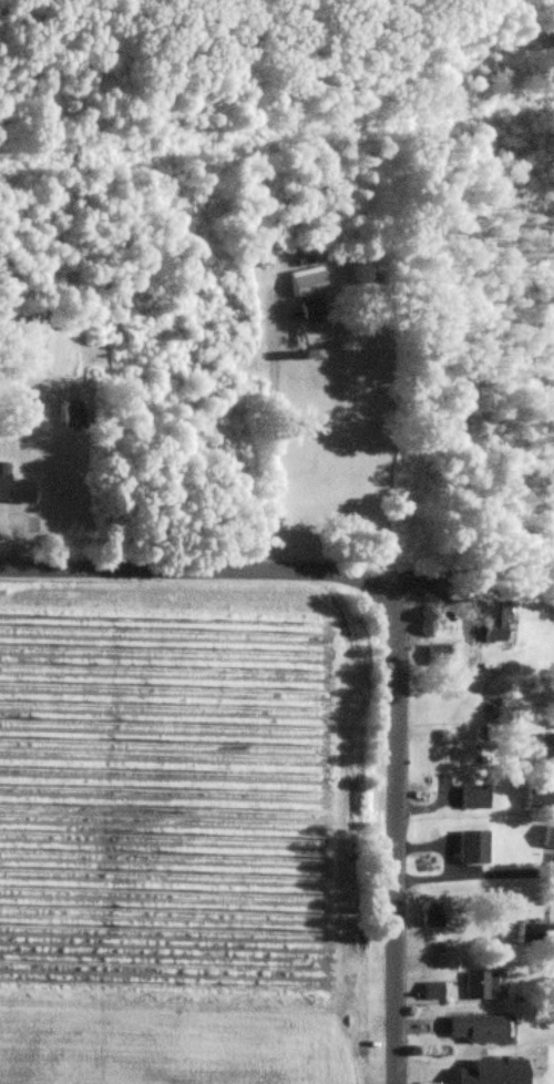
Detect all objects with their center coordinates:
building: (308, 286)
building: (311, 310)
building: (321, 333)
building: (73, 415)
road: (270, 450)
building: (16, 487)
building: (491, 607)
road: (394, 644)
building: (432, 656)
building: (545, 745)
building: (537, 795)
building: (470, 797)
building: (546, 837)
road: (434, 846)
building: (468, 847)
road: (473, 875)
building: (432, 917)
building: (525, 933)
building: (479, 985)
building: (431, 991)
building: (473, 1029)

